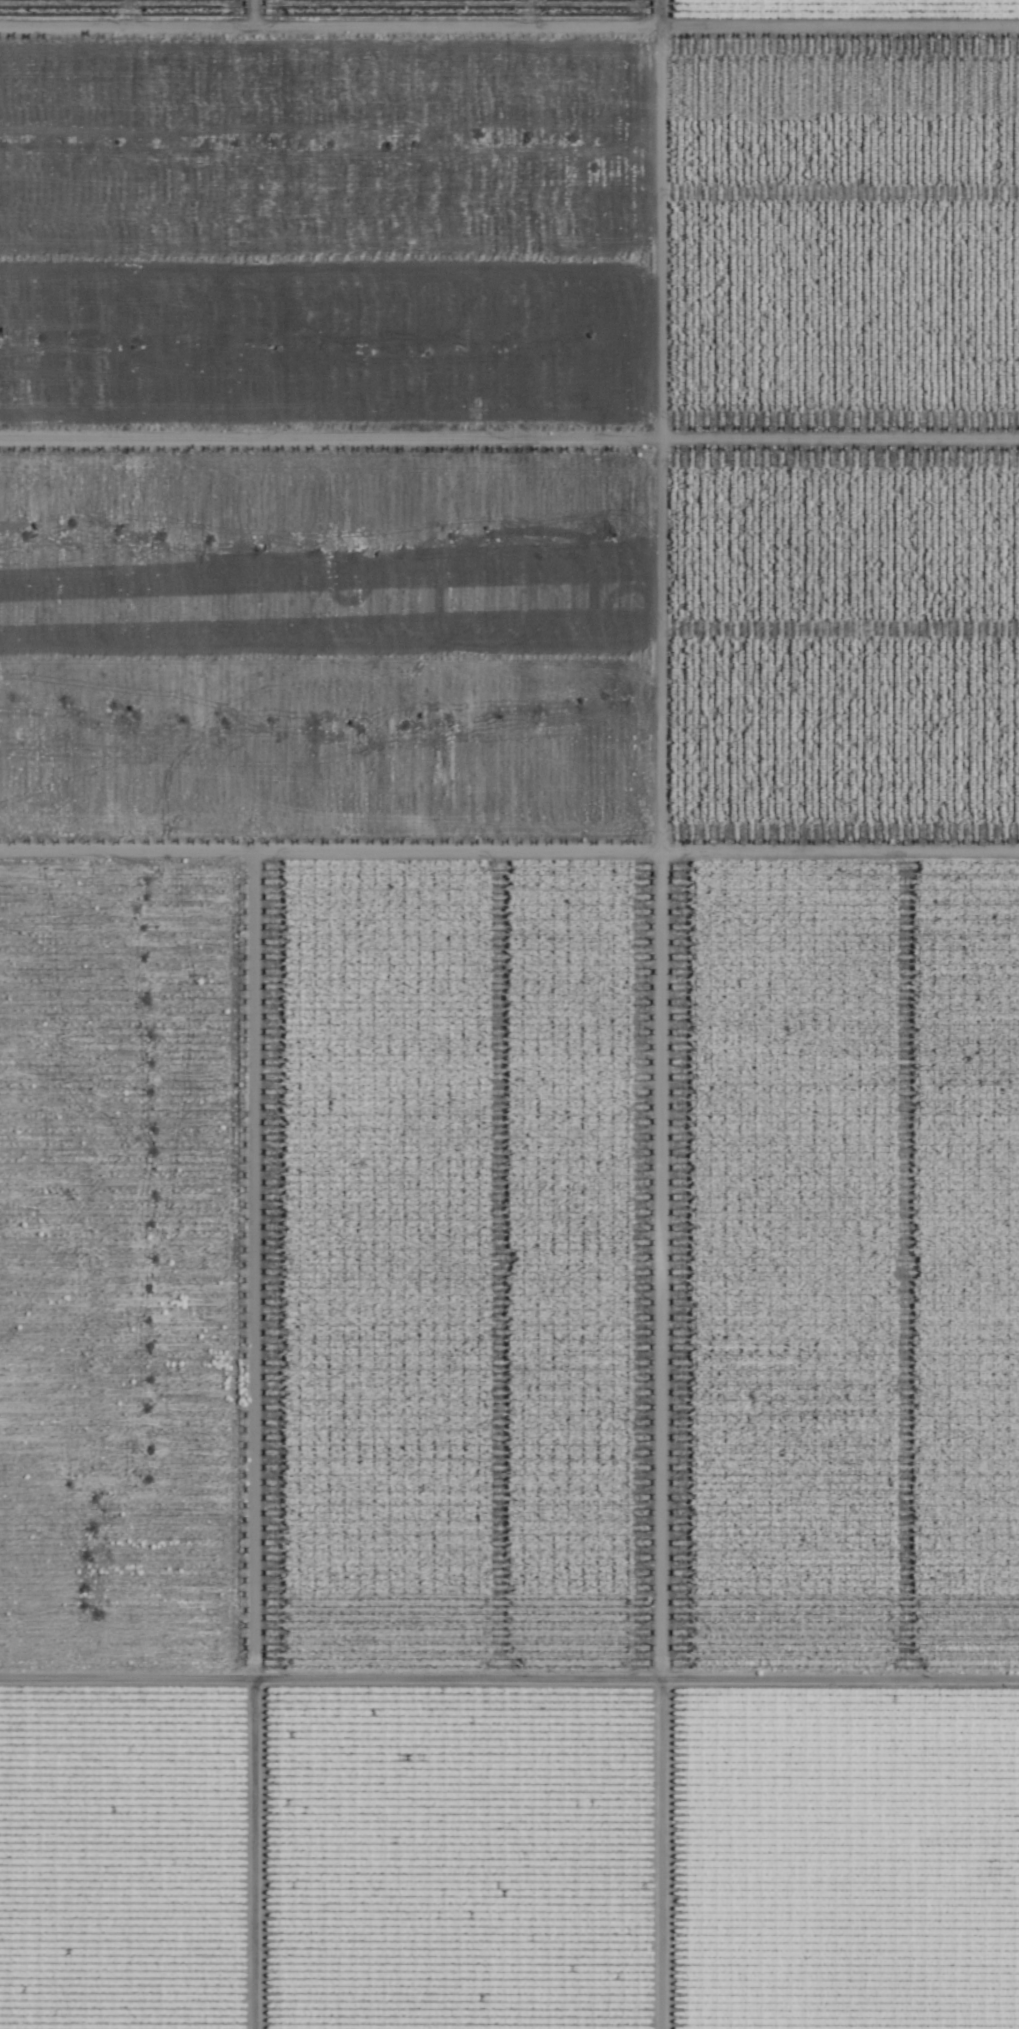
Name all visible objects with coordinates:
crop: (509, 1014)

